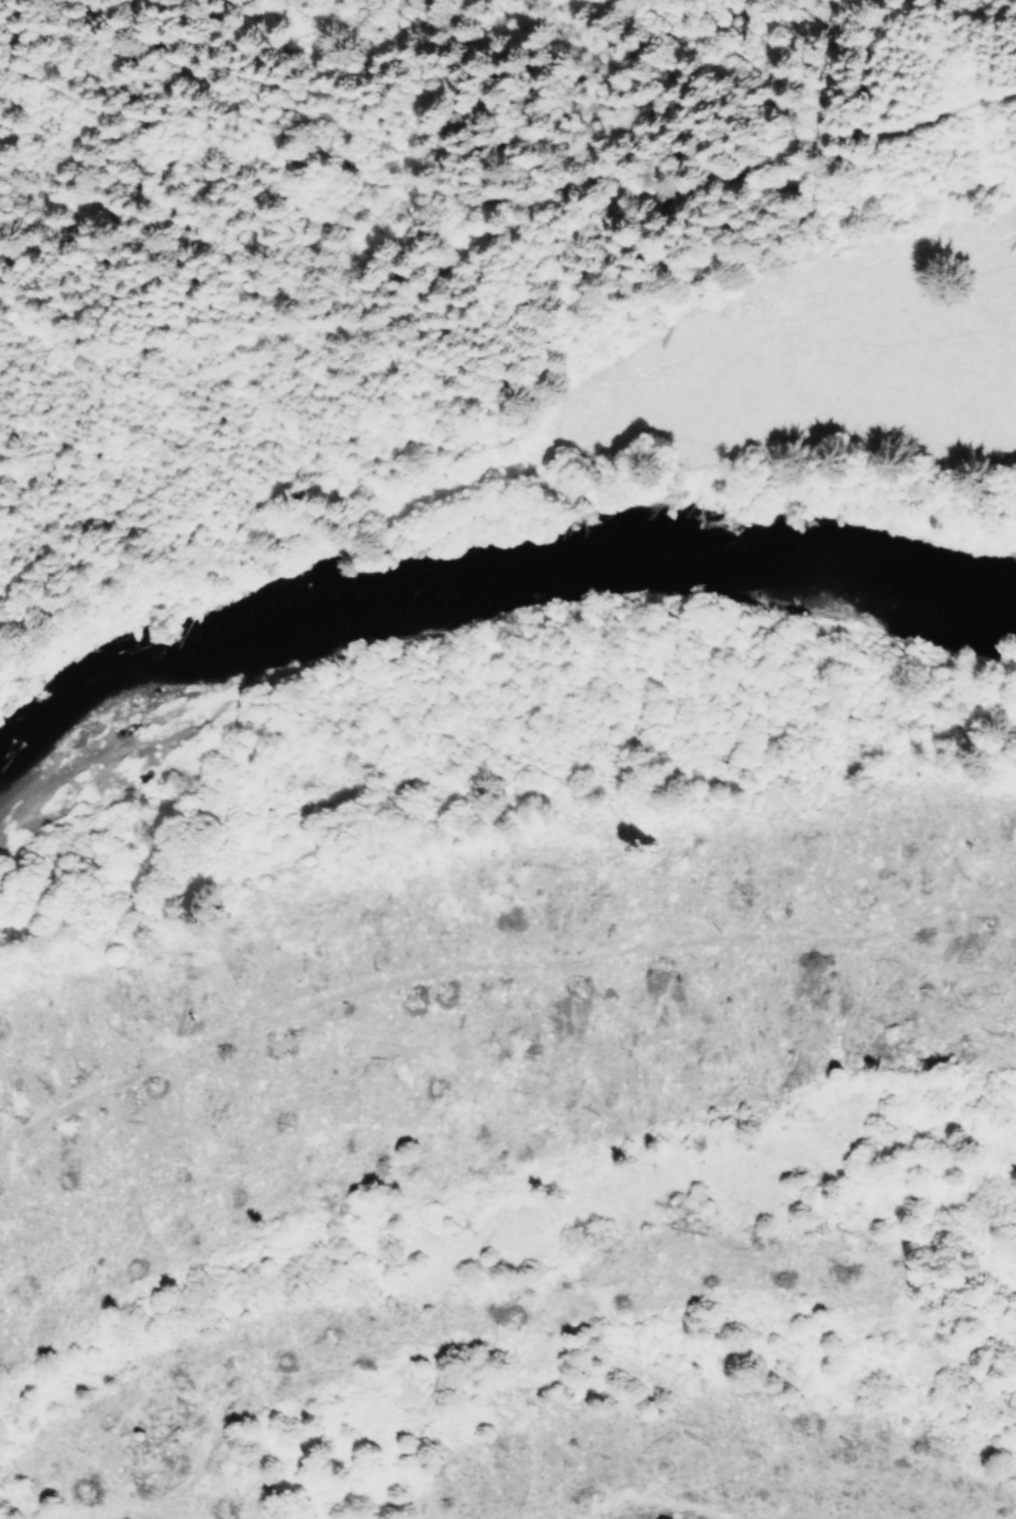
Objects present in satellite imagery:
crop: (823, 358)
river: (491, 583)

